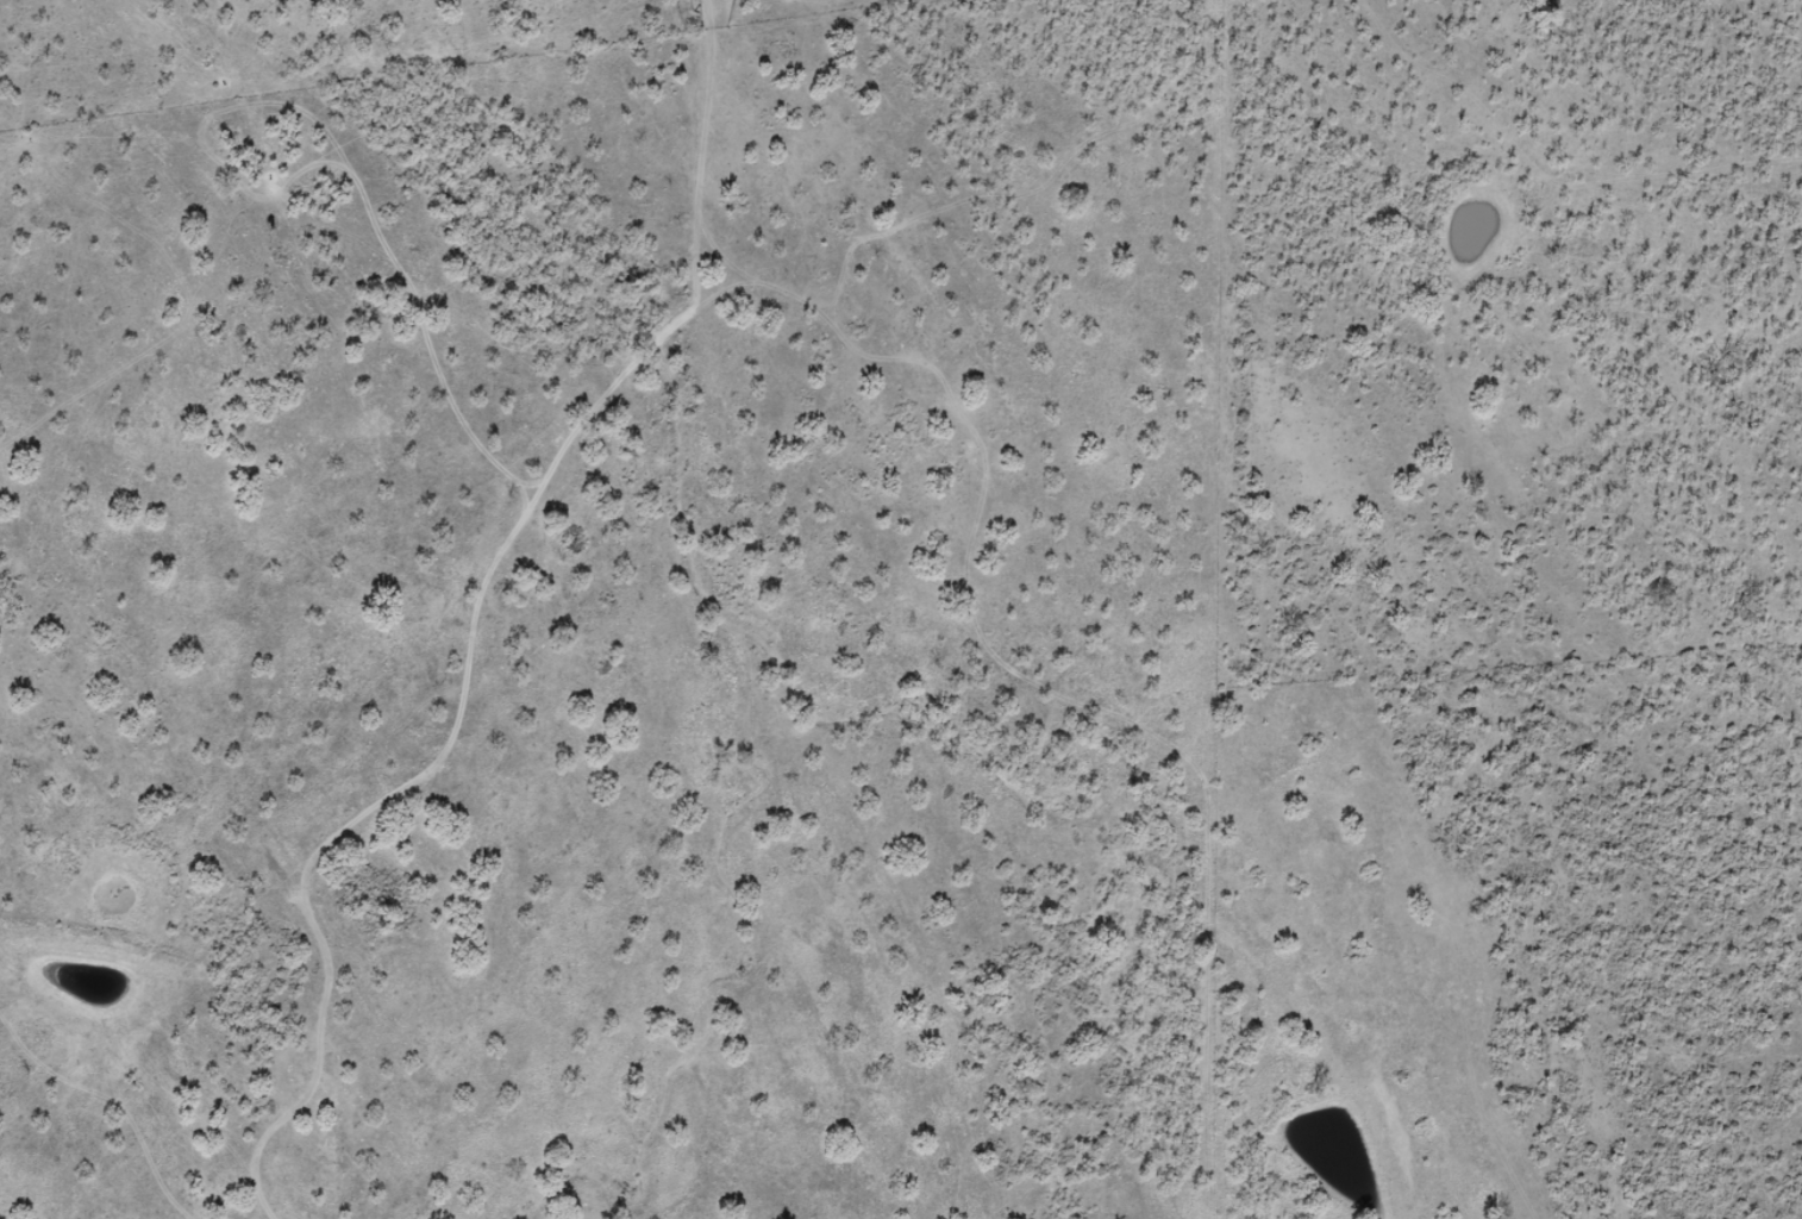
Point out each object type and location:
road: (507, 627)

